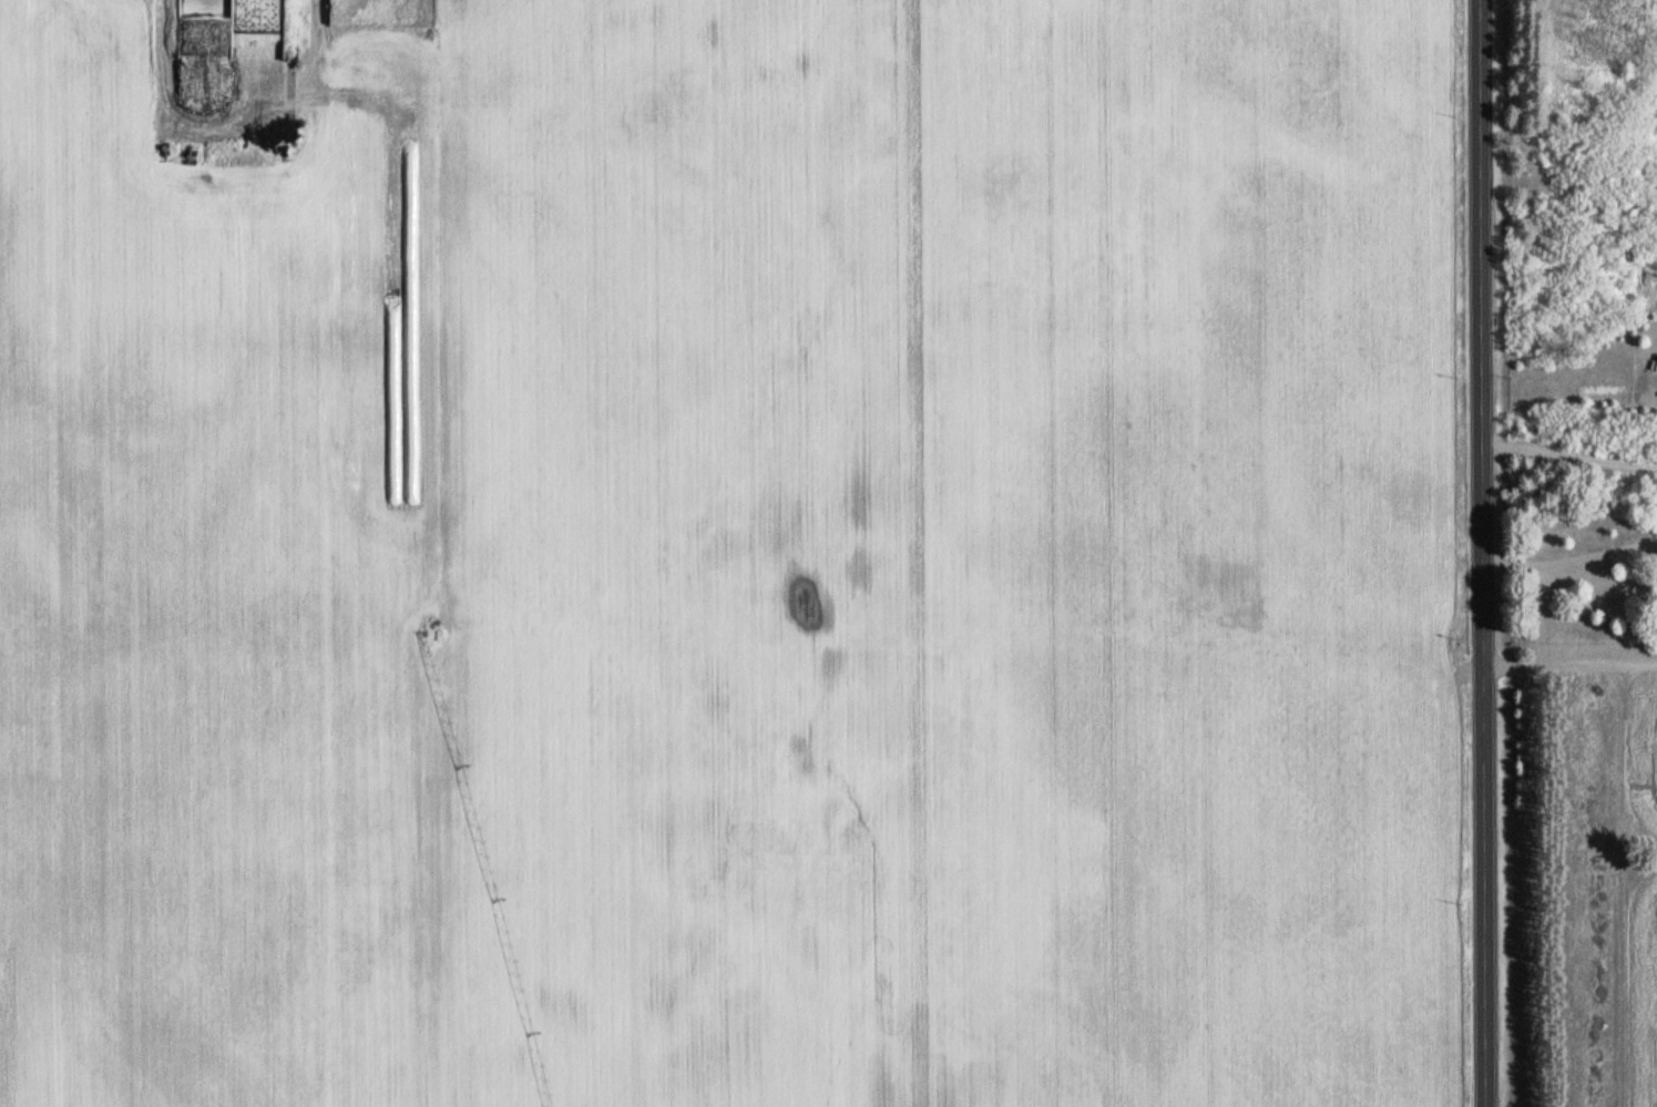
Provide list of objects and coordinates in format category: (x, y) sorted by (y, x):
road: (1569, 454)
road: (1482, 553)
road: (1571, 560)
road: (1569, 663)

